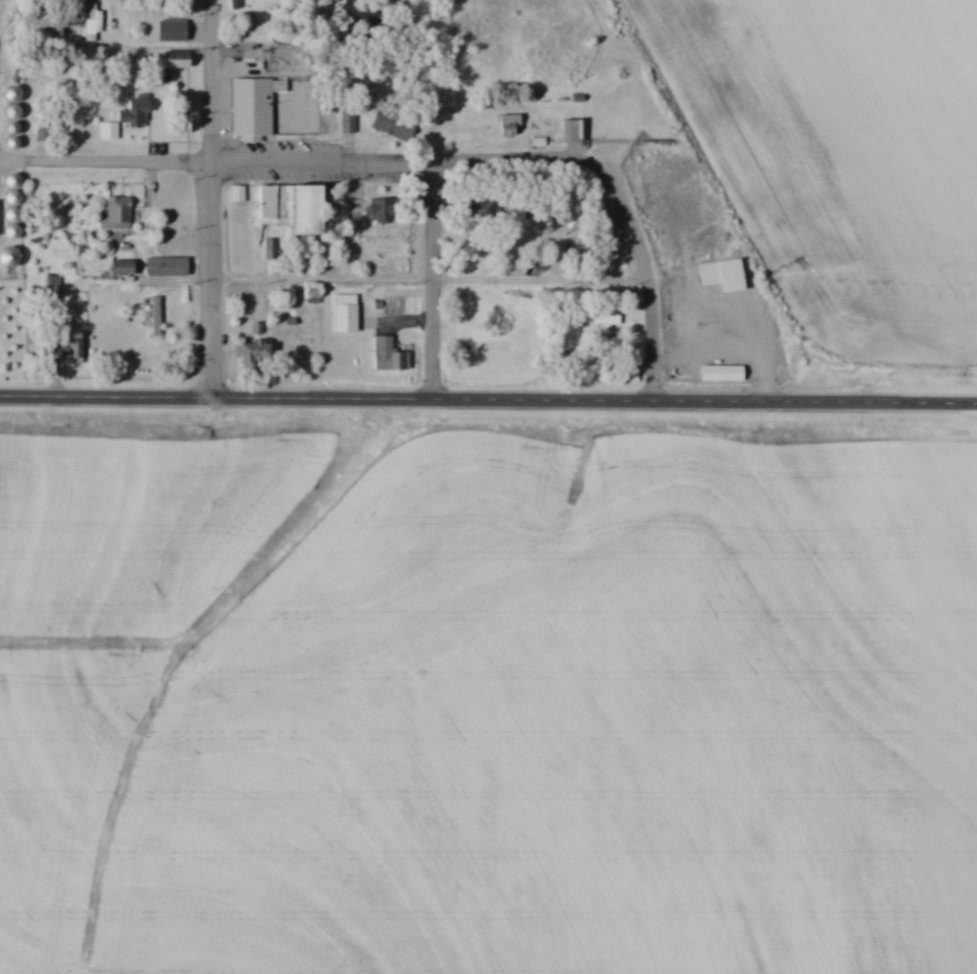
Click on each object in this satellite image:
building: (360, 13)
building: (91, 20)
building: (60, 24)
building: (168, 30)
building: (172, 59)
road: (353, 84)
building: (82, 109)
building: (126, 116)
building: (390, 121)
building: (279, 124)
building: (508, 124)
building: (569, 130)
road: (19, 164)
road: (384, 168)
road: (216, 200)
building: (476, 207)
building: (285, 208)
building: (374, 210)
building: (115, 215)
building: (6, 257)
building: (164, 266)
building: (120, 267)
building: (719, 274)
road: (432, 284)
road: (435, 284)
building: (343, 314)
building: (598, 319)
road: (653, 345)
building: (64, 348)
building: (251, 351)
building: (384, 355)
building: (629, 364)
building: (719, 372)
road: (488, 403)

